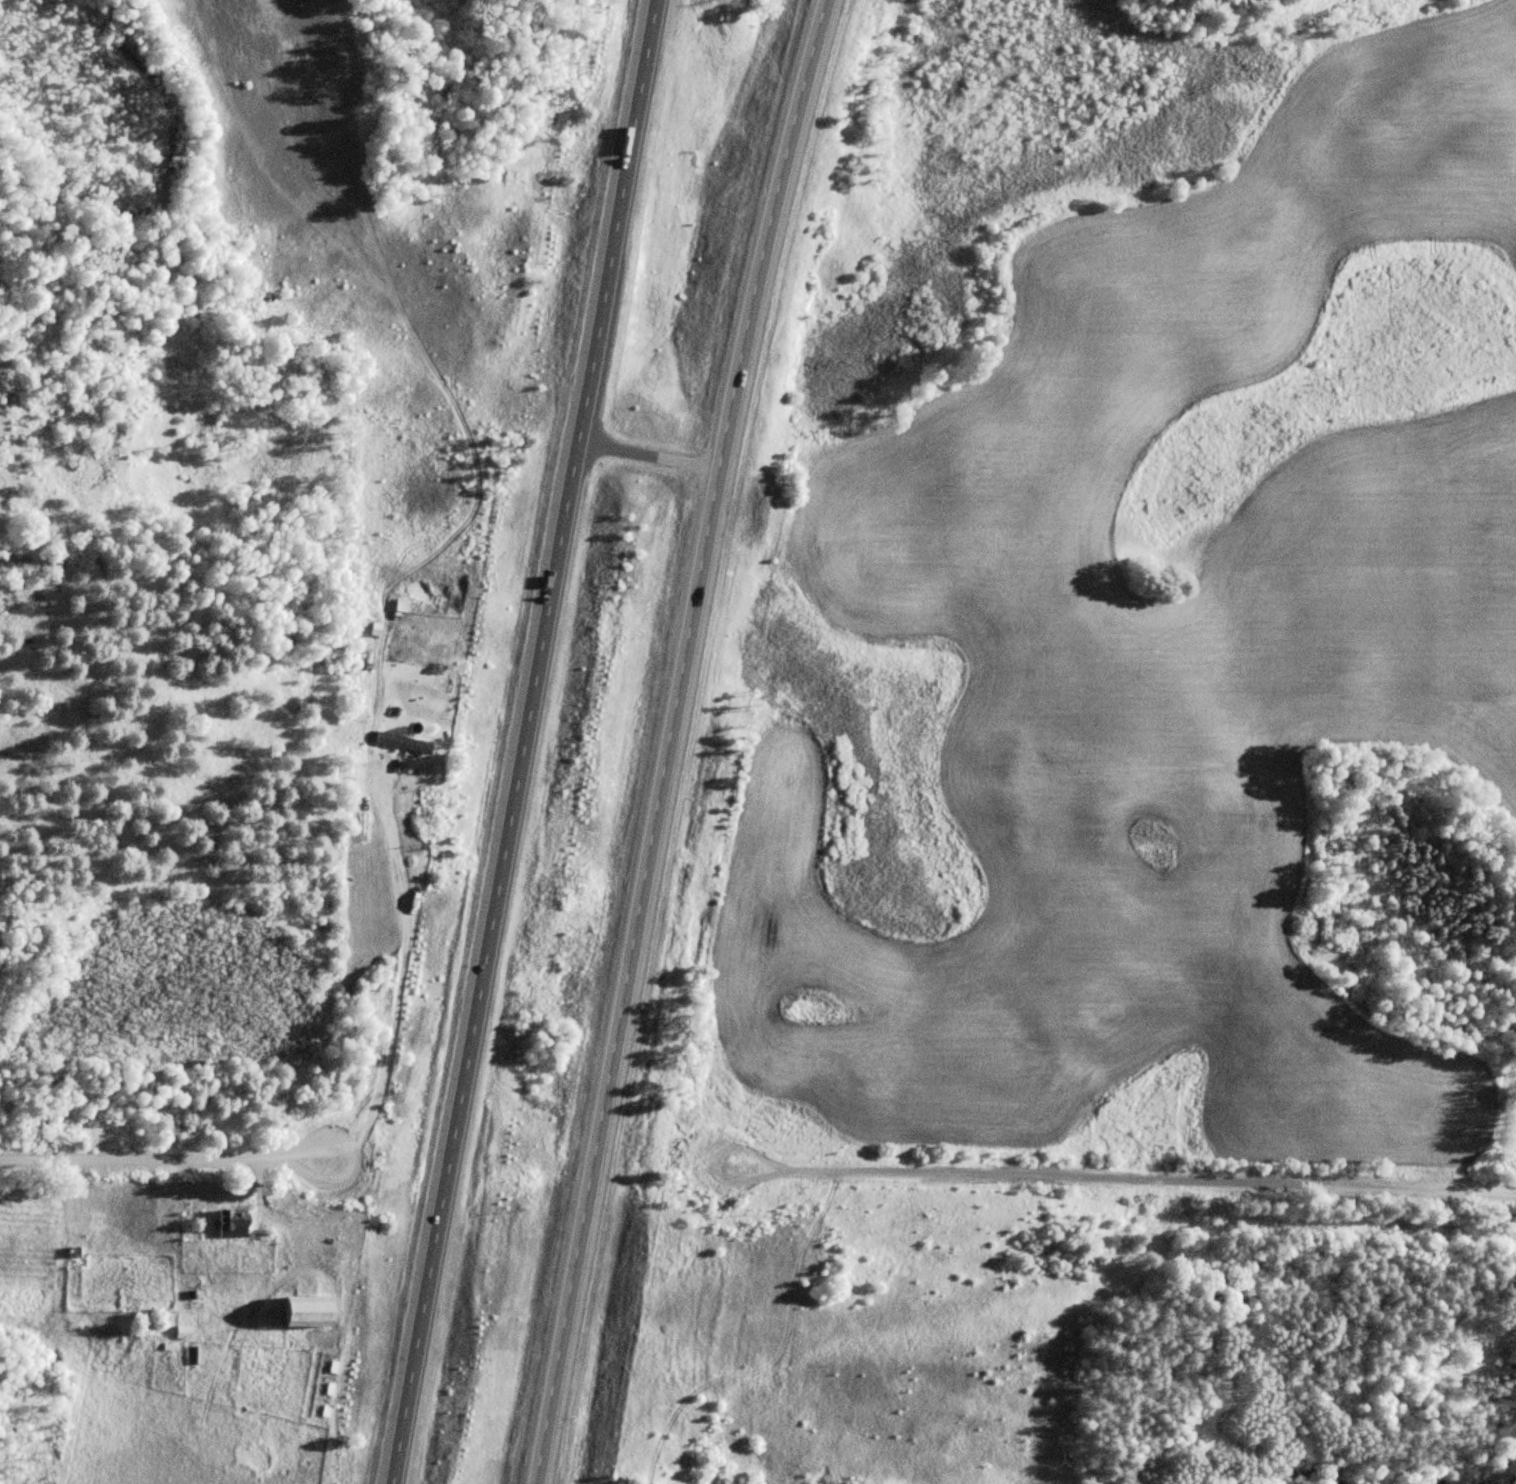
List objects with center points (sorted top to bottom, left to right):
road: (649, 457)
road: (671, 739)
road: (521, 741)
building: (404, 742)
road: (162, 1158)
road: (1128, 1180)
building: (233, 1221)
building: (307, 1311)

